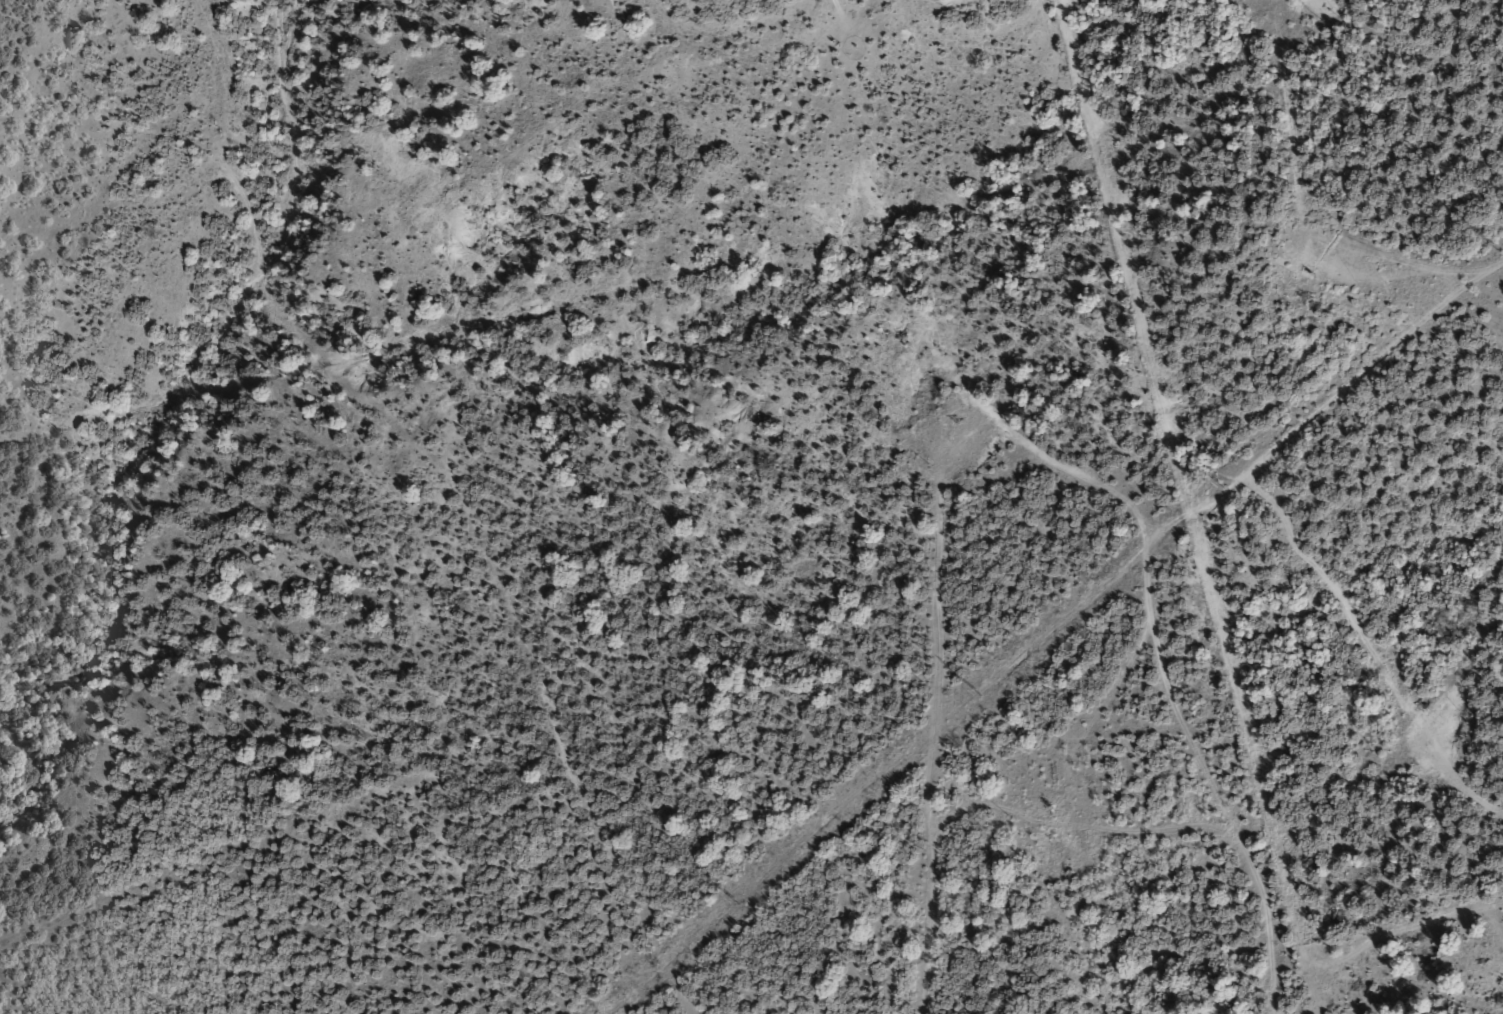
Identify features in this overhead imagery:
power tower: (1497, 248)
power tower: (1221, 483)
power tower: (979, 692)
power tower: (735, 900)

